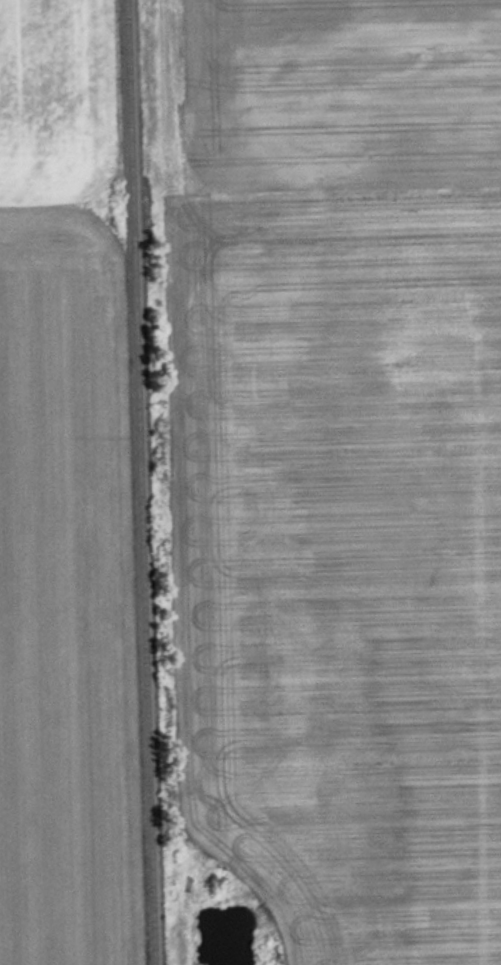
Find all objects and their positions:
railway: (142, 482)

